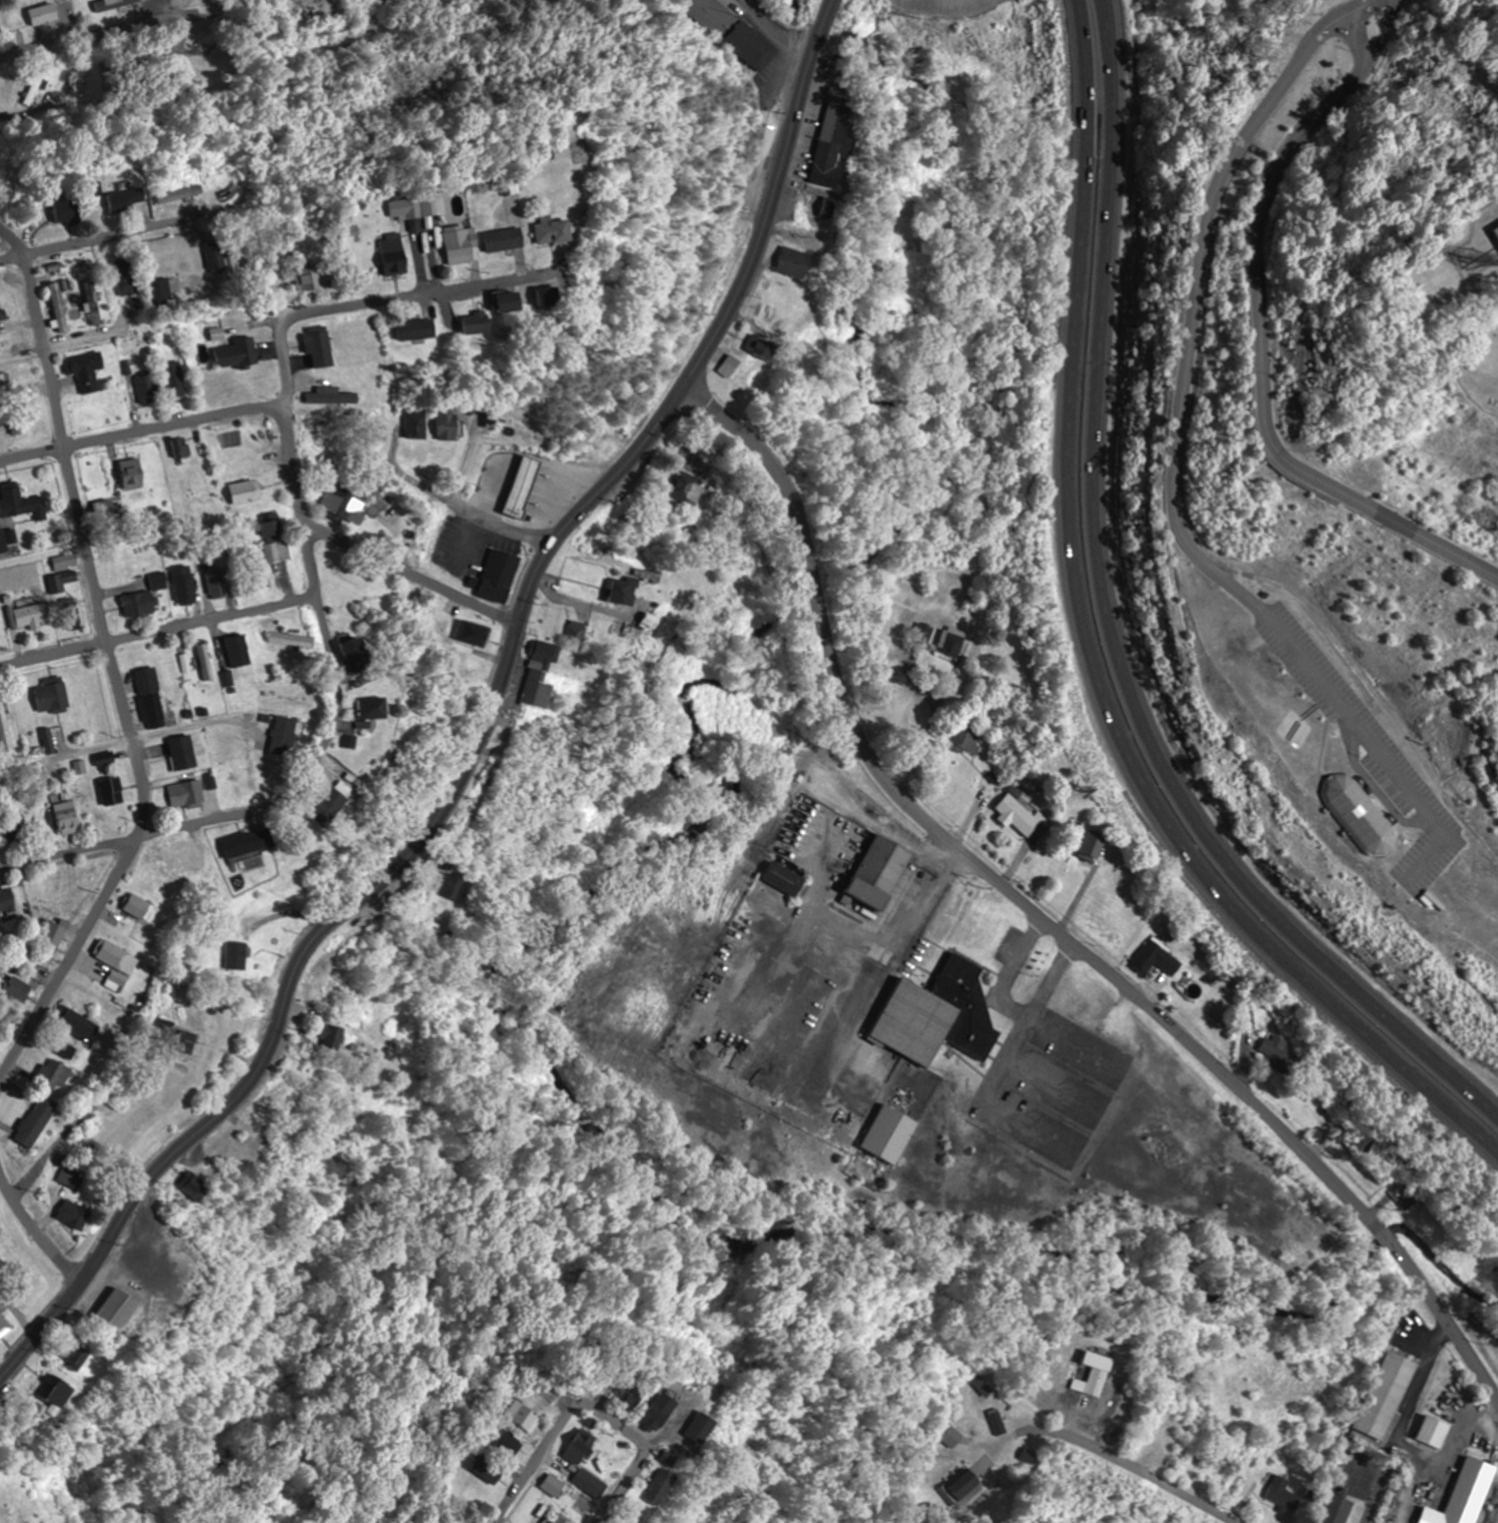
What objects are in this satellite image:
building: (43, 14)
road: (98, 30)
building: (832, 143)
building: (229, 190)
building: (180, 192)
building: (127, 199)
building: (804, 206)
building: (407, 209)
building: (67, 210)
building: (1497, 228)
building: (566, 229)
road: (102, 236)
building: (513, 239)
building: (467, 245)
building: (216, 256)
building: (398, 256)
building: (793, 261)
road: (248, 267)
building: (127, 276)
building: (307, 278)
building: (162, 292)
road: (420, 293)
building: (3, 294)
building: (561, 296)
building: (520, 301)
building: (93, 303)
building: (482, 322)
building: (419, 328)
road: (1258, 330)
building: (10, 340)
building: (759, 346)
building: (321, 348)
building: (237, 354)
building: (728, 366)
building: (89, 371)
building: (173, 377)
building: (149, 389)
building: (417, 425)
building: (449, 425)
building: (5, 431)
road: (142, 432)
building: (135, 472)
road: (1173, 485)
building: (523, 487)
building: (247, 491)
building: (691, 491)
building: (23, 504)
building: (342, 504)
building: (376, 504)
building: (275, 528)
building: (1, 542)
building: (279, 552)
building: (68, 568)
road: (311, 569)
building: (502, 570)
road: (410, 576)
building: (188, 586)
building: (217, 586)
building: (627, 587)
building: (148, 597)
building: (32, 615)
road: (1114, 627)
road: (157, 632)
building: (921, 632)
building: (293, 640)
building: (949, 643)
building: (235, 652)
building: (543, 652)
road: (1087, 654)
building: (207, 662)
road: (114, 665)
building: (535, 689)
building: (152, 695)
building: (54, 696)
building: (377, 708)
building: (6, 727)
road: (482, 730)
building: (287, 737)
building: (964, 740)
building: (186, 753)
building: (114, 791)
building: (189, 794)
building: (330, 808)
building: (68, 816)
building: (1019, 817)
building: (11, 830)
road: (137, 836)
building: (253, 843)
building: (1091, 847)
building: (201, 861)
building: (173, 864)
building: (879, 872)
building: (783, 879)
building: (452, 887)
building: (7, 903)
building: (140, 907)
road: (1042, 919)
building: (55, 933)
building: (117, 957)
building: (1156, 958)
building: (319, 986)
building: (17, 993)
building: (938, 1016)
building: (332, 1037)
building: (1277, 1053)
building: (307, 1066)
building: (54, 1074)
building: (285, 1098)
building: (37, 1121)
building: (888, 1134)
building: (238, 1157)
building: (68, 1175)
building: (193, 1188)
building: (78, 1213)
road: (36, 1228)
building: (119, 1308)
building: (5, 1325)
building: (77, 1352)
building: (1094, 1372)
building: (631, 1389)
building: (59, 1390)
building: (1386, 1395)
building: (664, 1404)
road: (587, 1408)
building: (523, 1417)
building: (700, 1427)
building: (1431, 1430)
building: (578, 1447)
road: (1131, 1468)
building: (487, 1474)
building: (1280, 1494)
building: (1461, 1494)
building: (1334, 1509)

